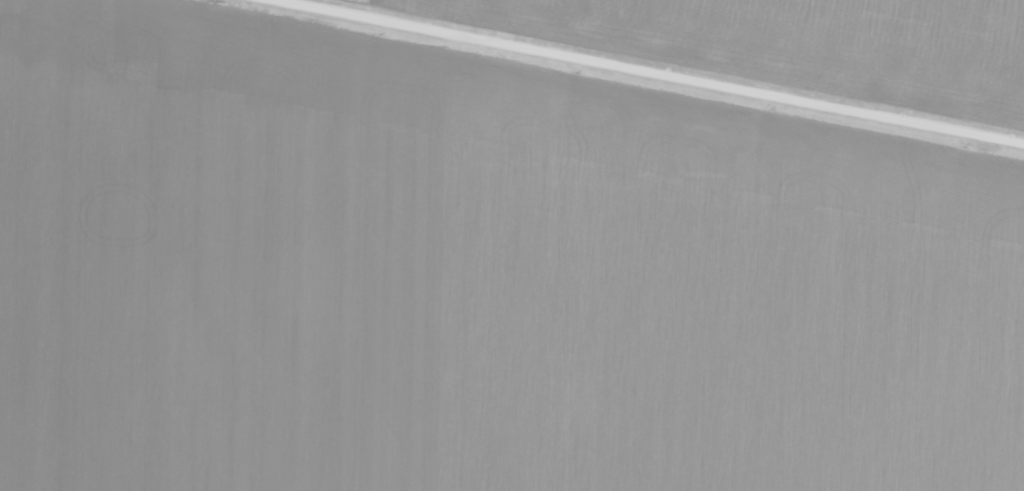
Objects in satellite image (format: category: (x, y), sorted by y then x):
road: (634, 75)

